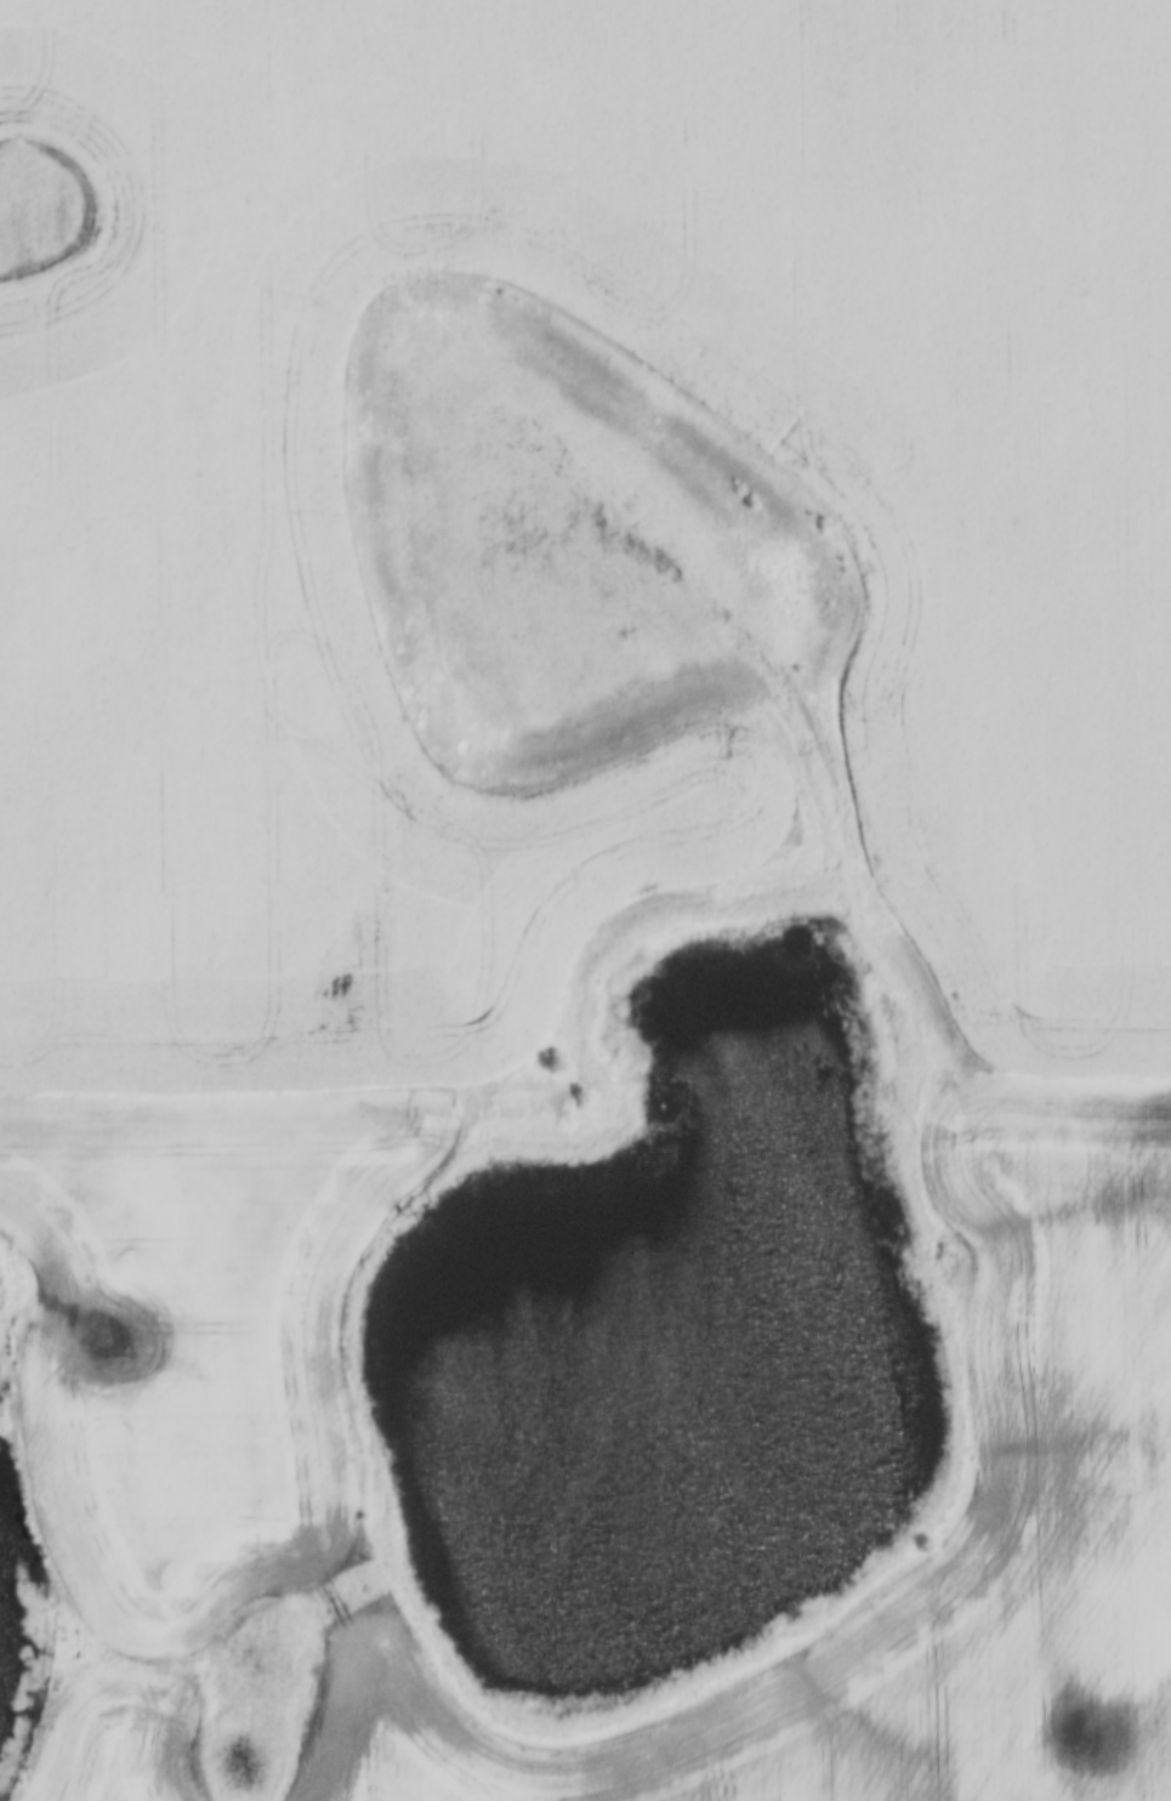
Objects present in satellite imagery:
road: (163, 106)

